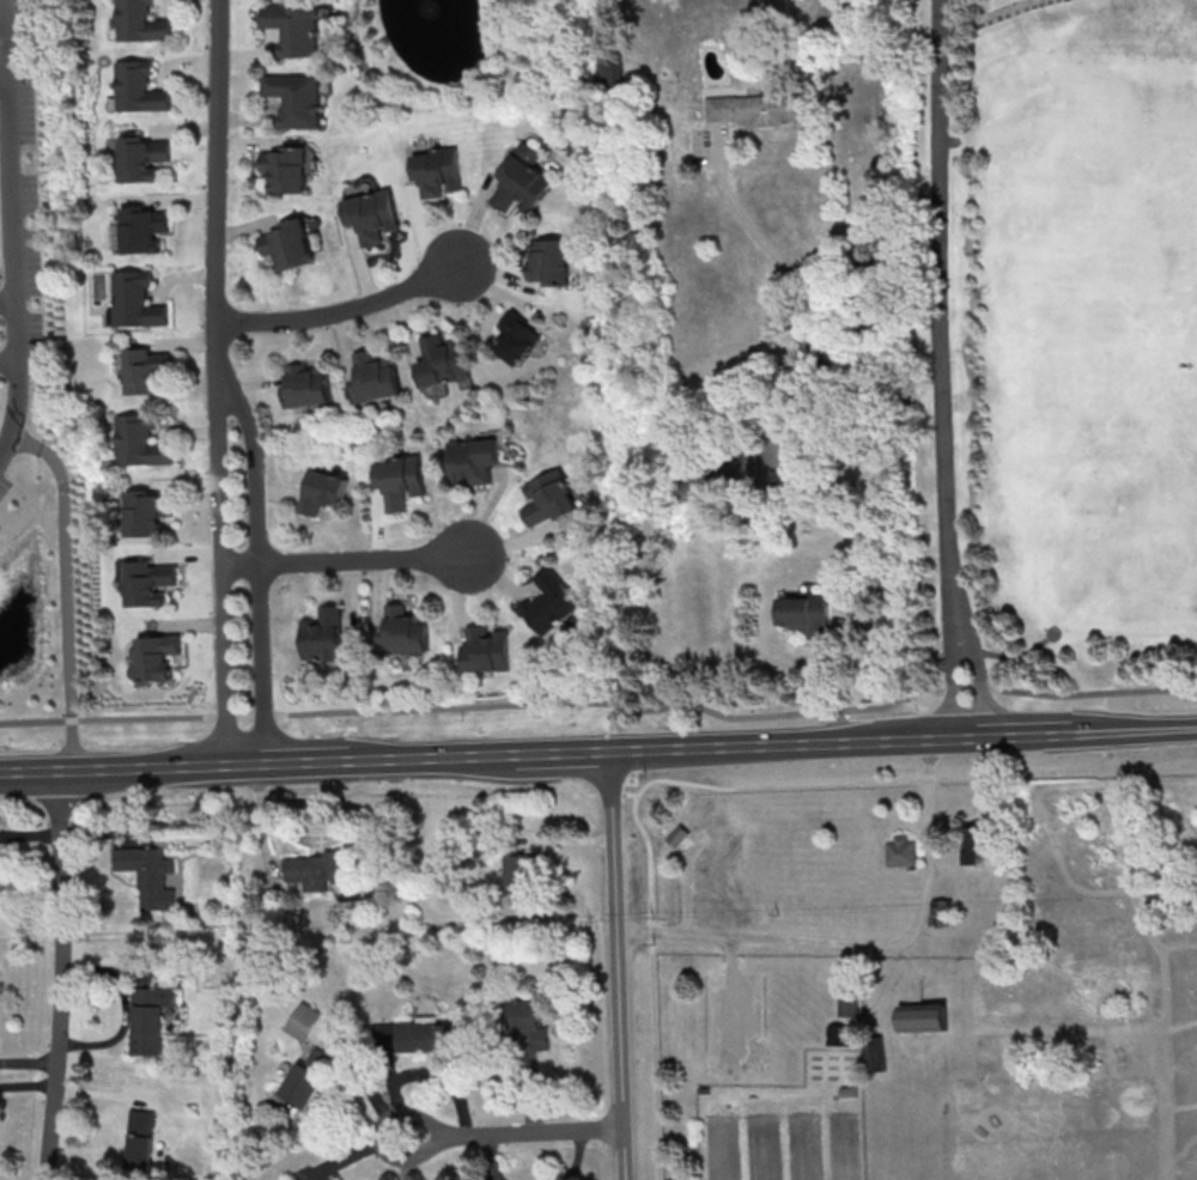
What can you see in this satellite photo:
road: (2, 12)
building: (141, 23)
building: (297, 30)
road: (4, 77)
building: (140, 89)
building: (298, 99)
building: (755, 108)
building: (142, 158)
building: (287, 169)
building: (439, 174)
road: (218, 182)
building: (522, 183)
building: (373, 215)
road: (13, 229)
building: (144, 229)
building: (291, 245)
building: (549, 261)
road: (7, 300)
building: (136, 302)
road: (344, 309)
road: (943, 312)
building: (518, 340)
park: (1041, 355)
road: (8, 359)
building: (444, 361)
building: (147, 372)
building: (378, 378)
building: (309, 387)
road: (874, 415)
building: (140, 444)
building: (475, 462)
building: (402, 483)
building: (323, 492)
building: (551, 500)
building: (148, 513)
road: (344, 559)
road: (259, 560)
road: (221, 564)
building: (151, 585)
road: (63, 590)
building: (552, 603)
building: (808, 615)
building: (407, 632)
building: (328, 639)
building: (487, 650)
building: (157, 659)
road: (977, 679)
road: (949, 680)
road: (601, 701)
road: (1129, 729)
road: (1020, 734)
road: (792, 743)
road: (565, 753)
road: (435, 758)
road: (305, 762)
road: (132, 767)
road: (718, 785)
road: (613, 795)
road: (292, 798)
road: (1185, 807)
building: (679, 838)
road: (1117, 839)
building: (979, 844)
building: (905, 853)
building: (316, 871)
building: (151, 876)
building: (522, 876)
road: (1114, 893)
building: (943, 914)
road: (863, 943)
road: (1178, 945)
road: (616, 965)
road: (60, 975)
park: (924, 995)
building: (851, 1000)
road: (733, 1005)
building: (152, 1018)
building: (929, 1020)
building: (305, 1022)
parking lot: (734, 1024)
building: (528, 1028)
road: (1026, 1032)
building: (430, 1036)
building: (841, 1038)
building: (877, 1059)
road: (942, 1063)
building: (309, 1079)
building: (705, 1091)
building: (850, 1093)
road: (1181, 1108)
road: (511, 1131)
road: (906, 1137)
building: (141, 1141)
road: (1184, 1152)

